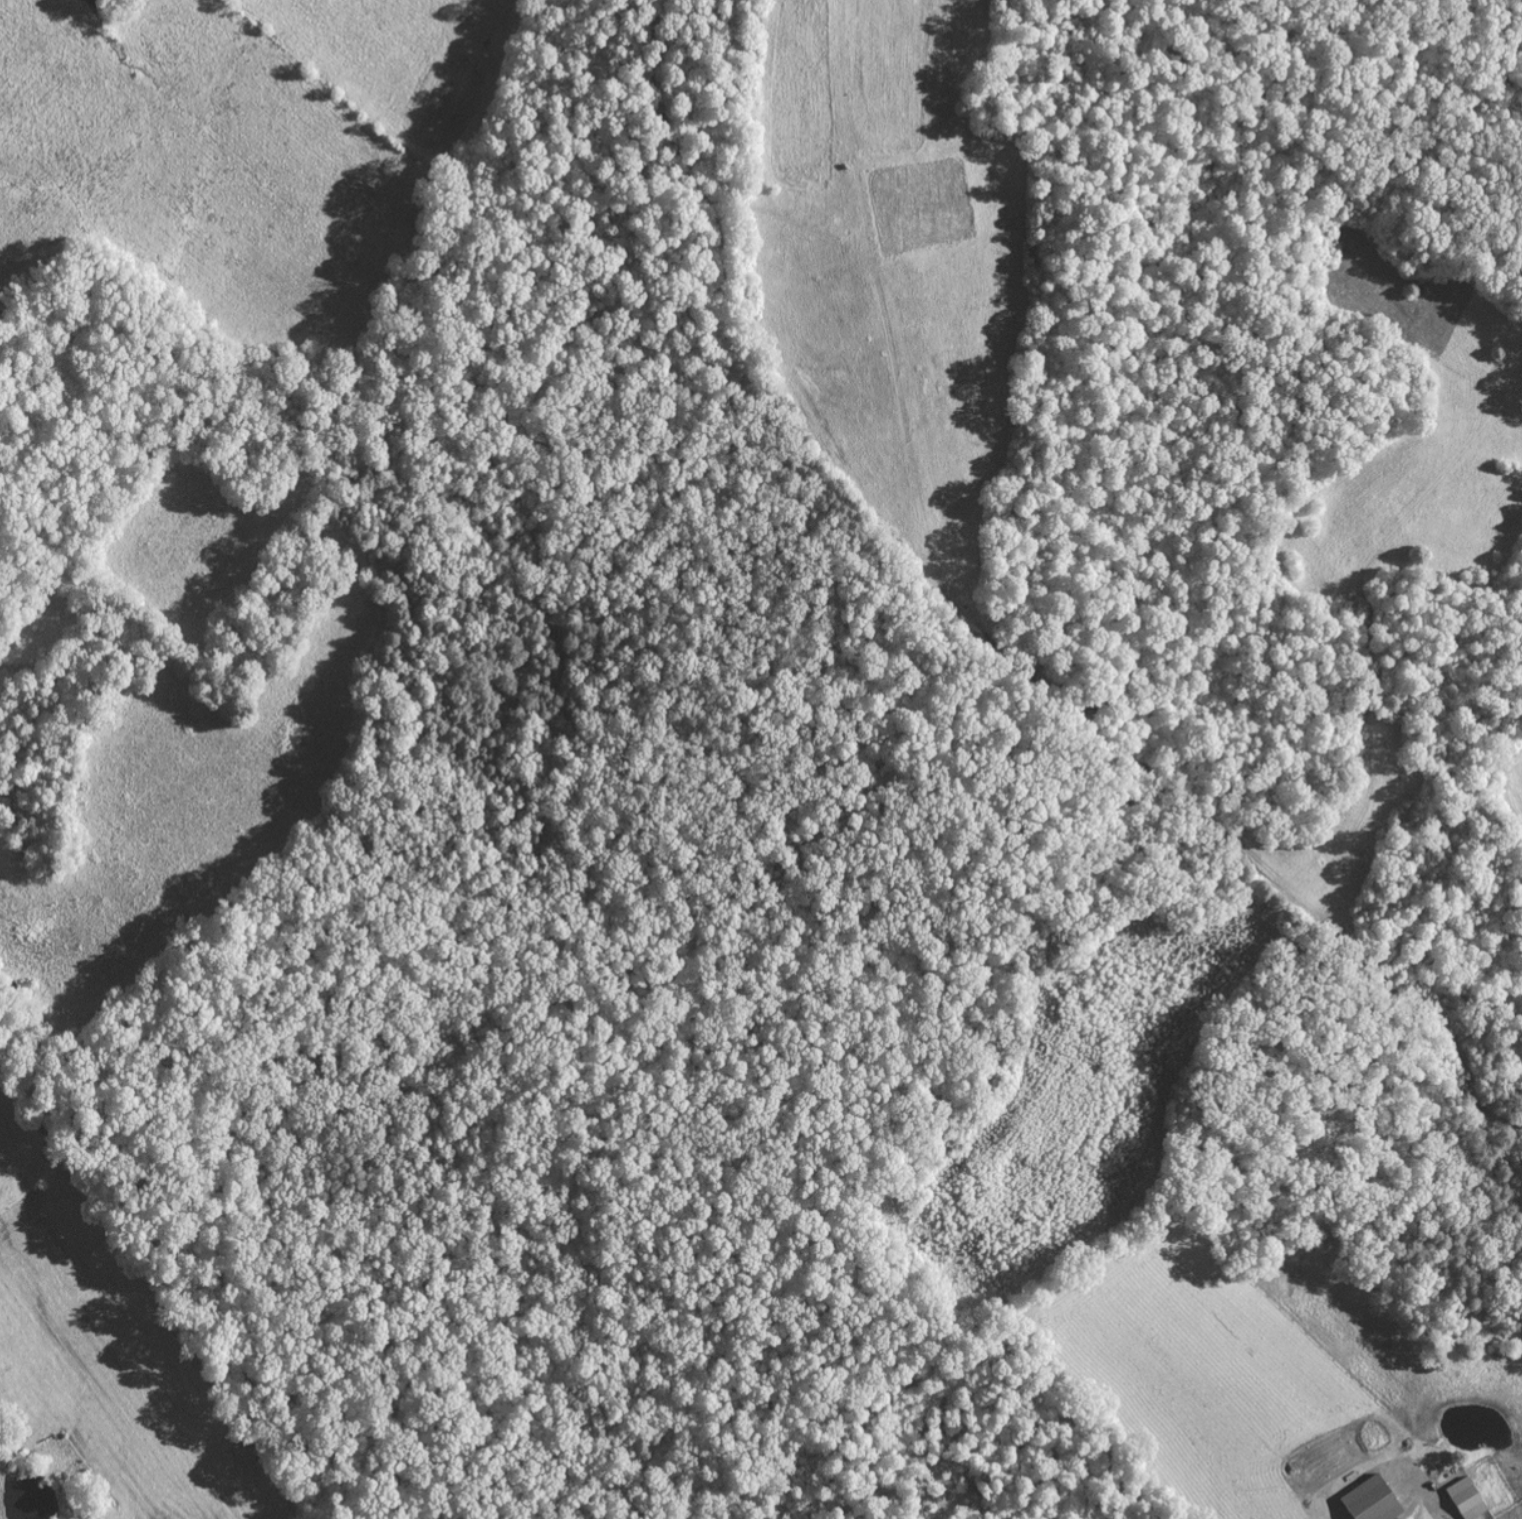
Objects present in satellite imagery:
building: (1469, 1498)
building: (1376, 1500)

